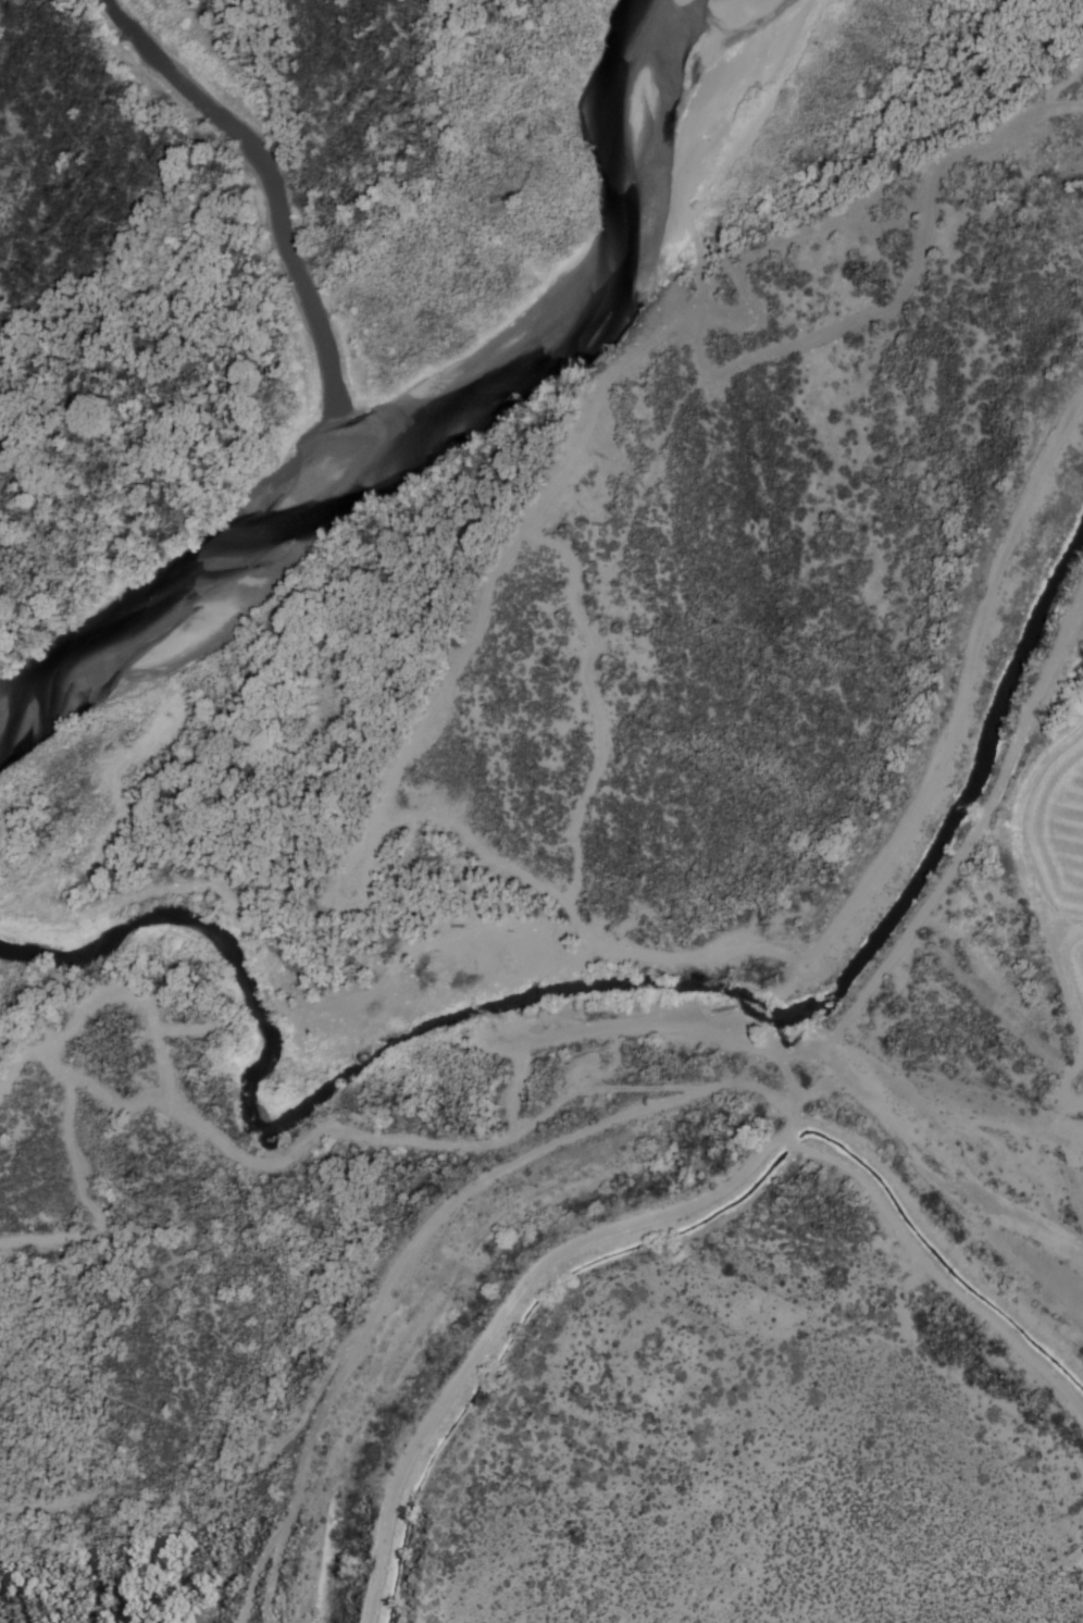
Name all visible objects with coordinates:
river: (271, 198)
road: (759, 356)
river: (419, 394)
road: (964, 691)

